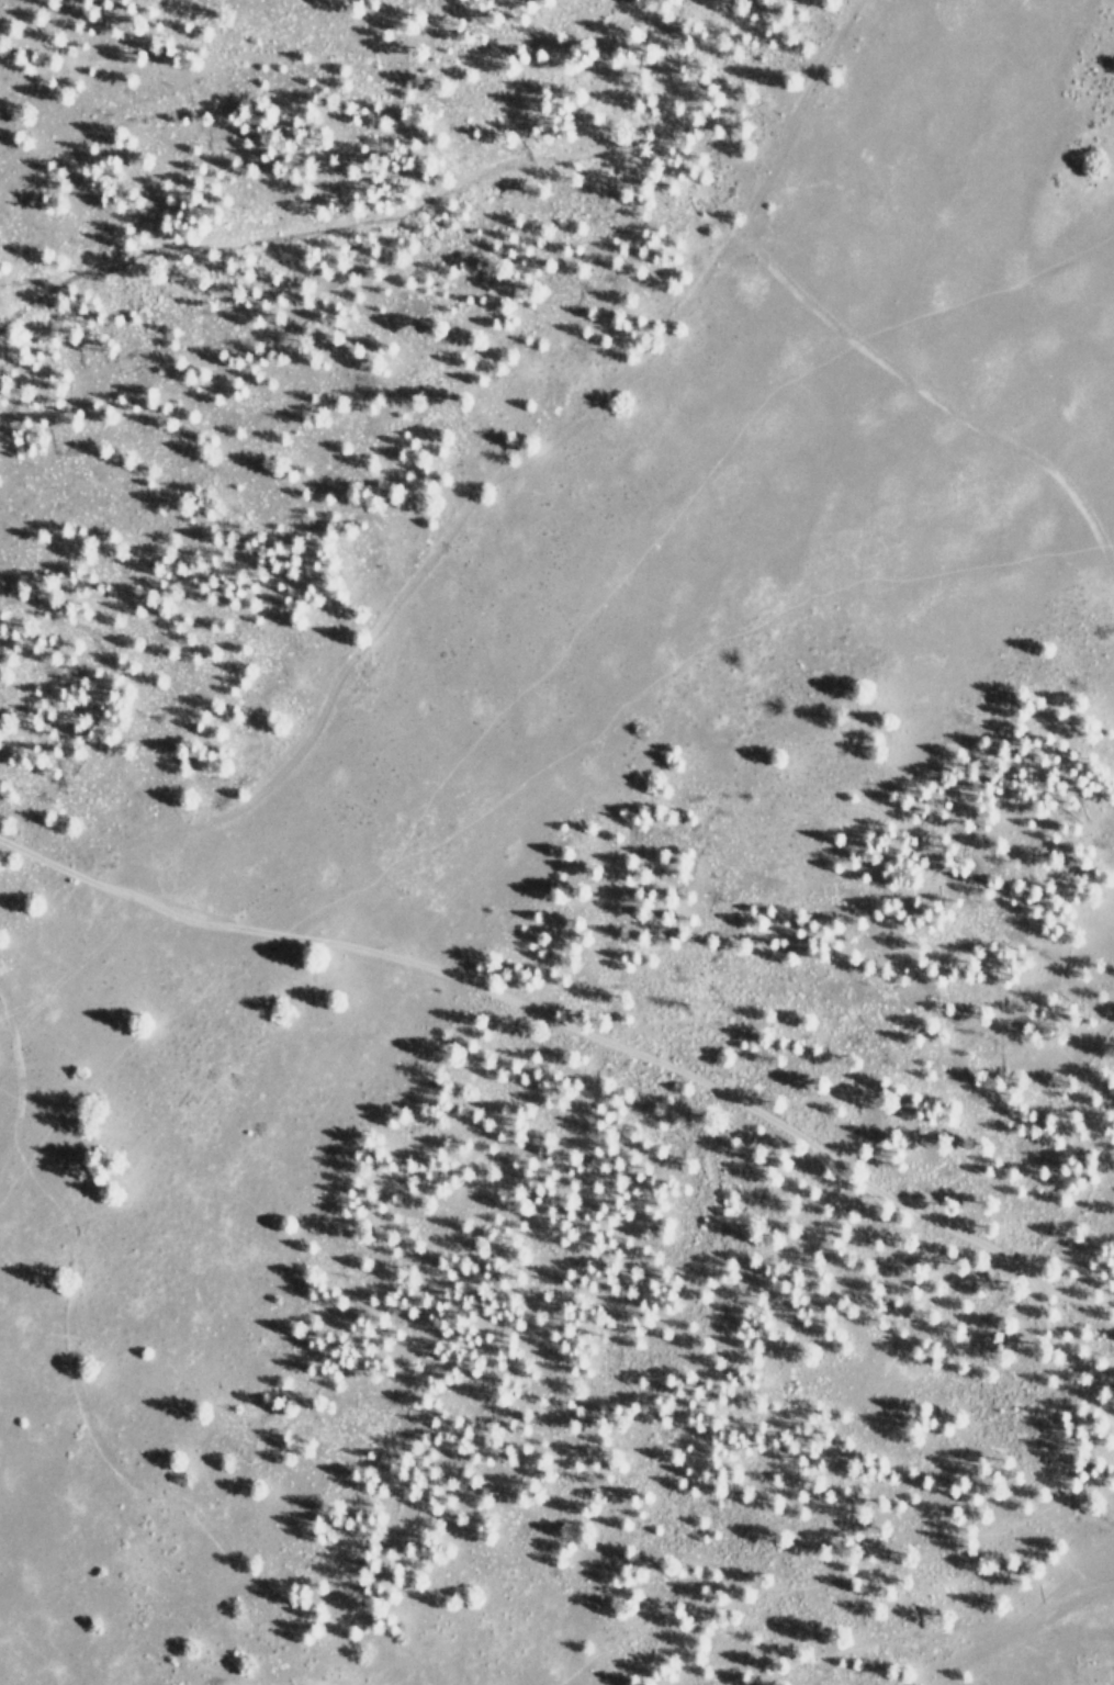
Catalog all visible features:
road: (559, 1019)

